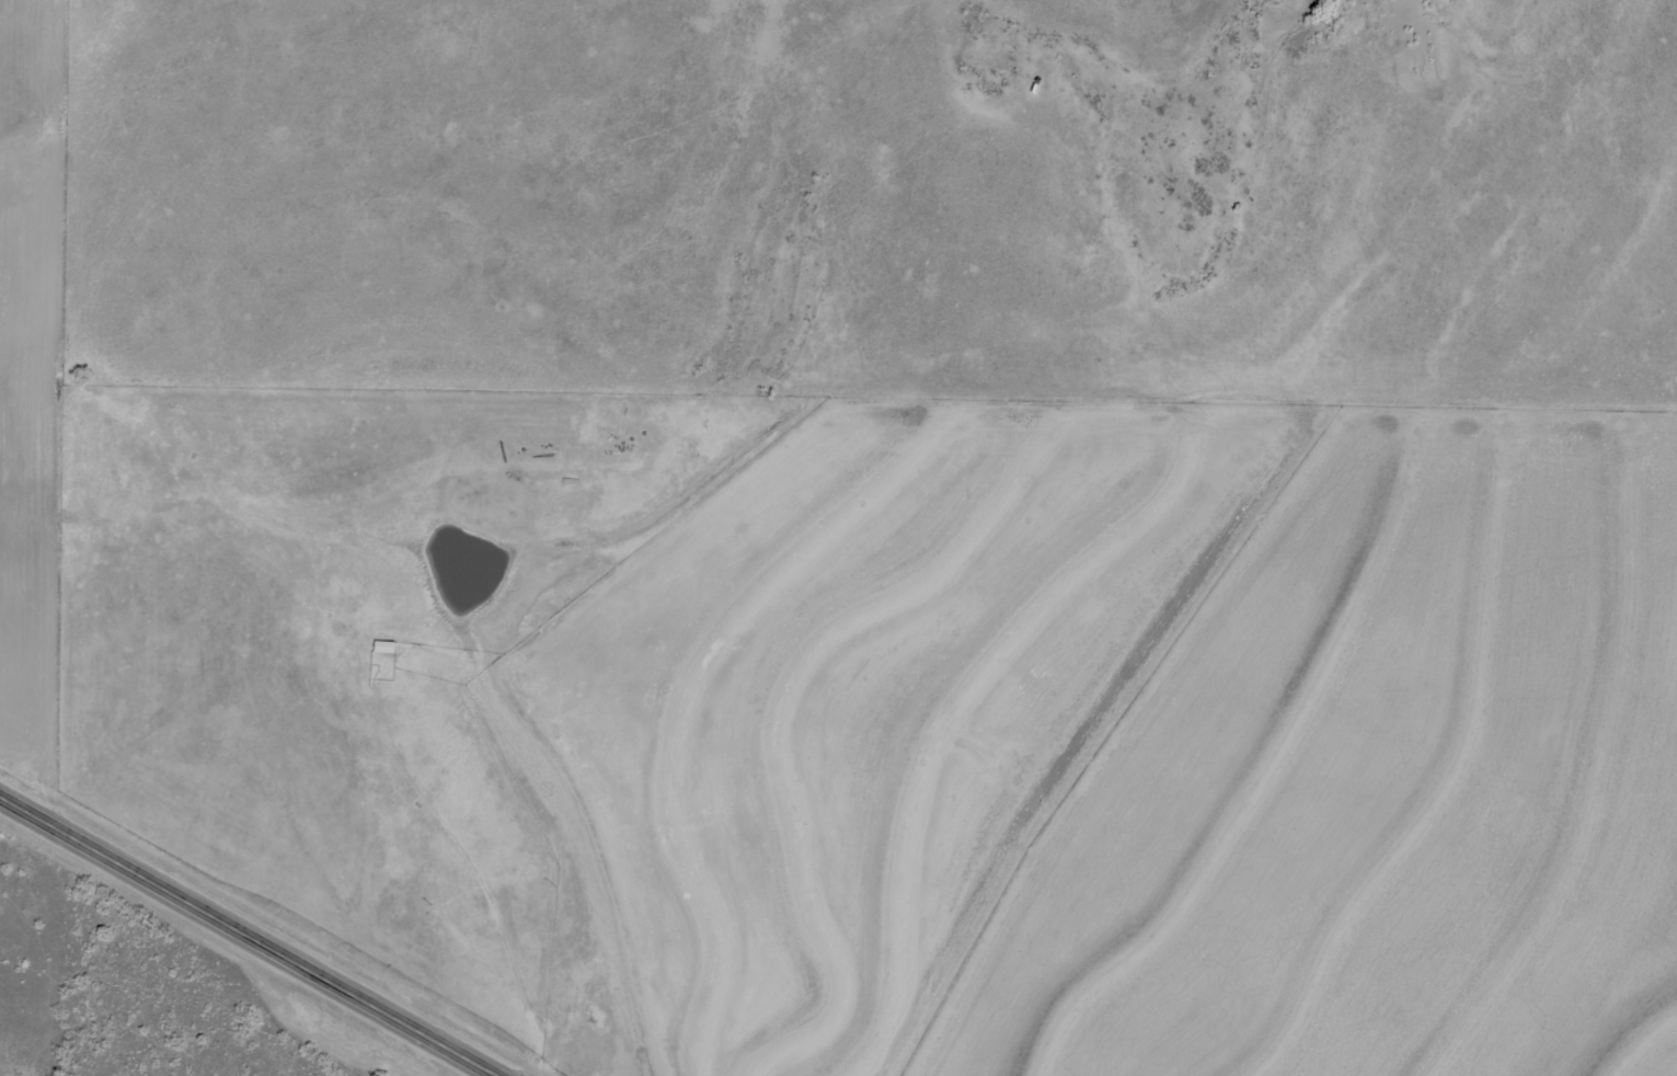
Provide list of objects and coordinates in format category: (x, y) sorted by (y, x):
road: (1016, 442)
building: (388, 645)
road: (252, 934)

